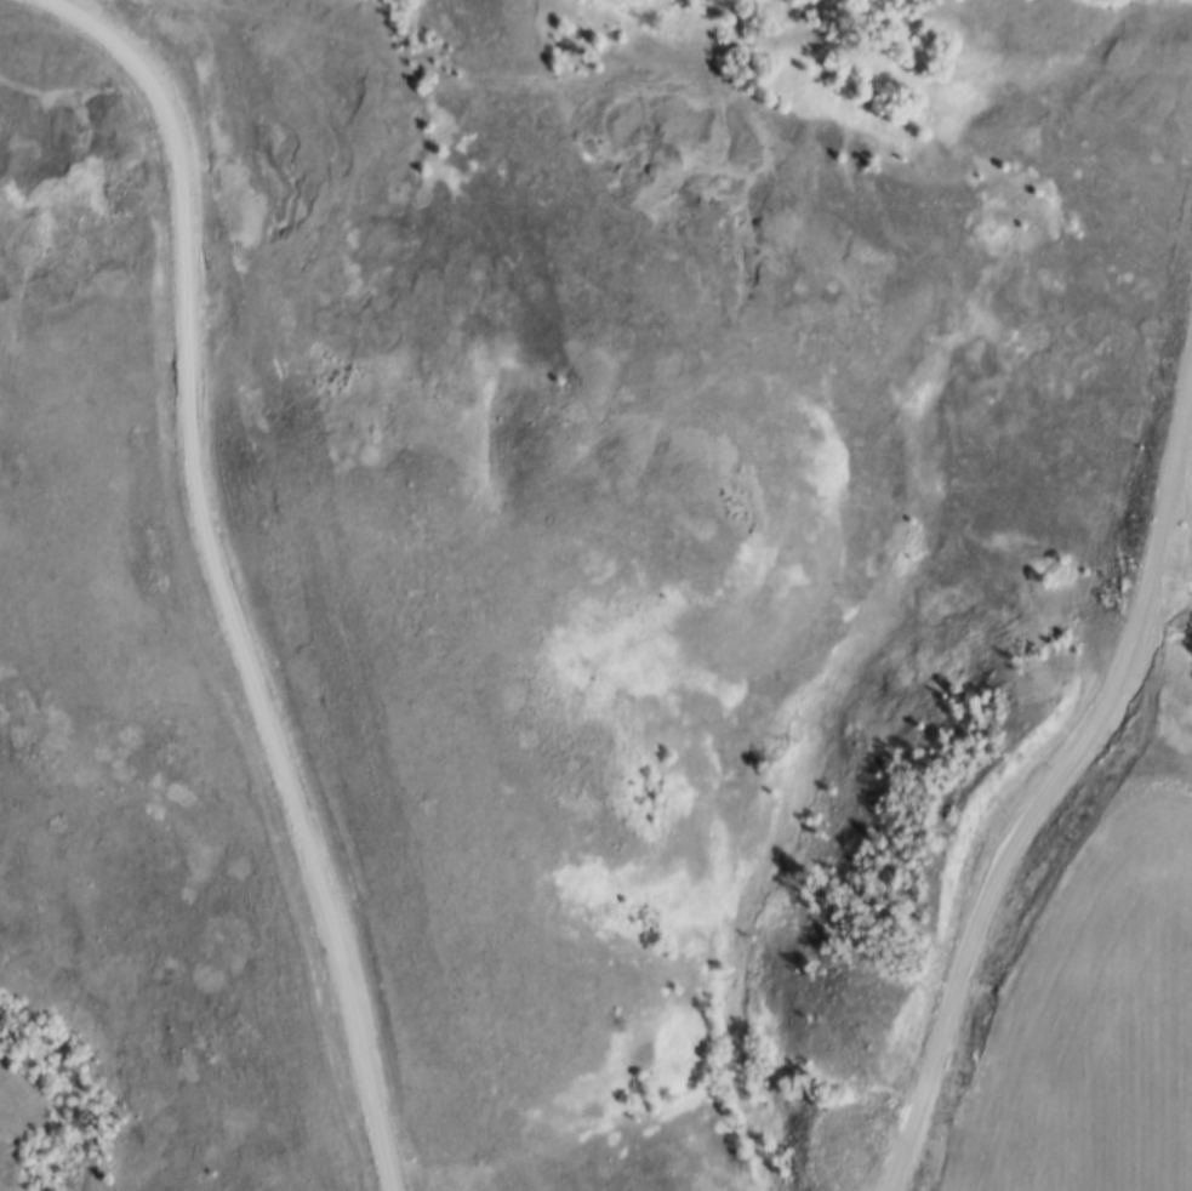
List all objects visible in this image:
road: (223, 574)
road: (1055, 781)

